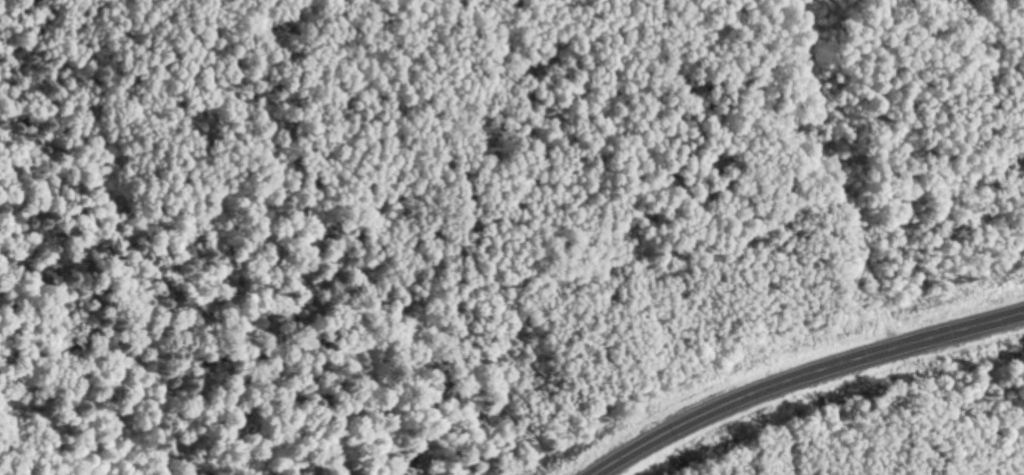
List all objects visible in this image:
road: (939, 7)
road: (839, 176)
road: (802, 378)

